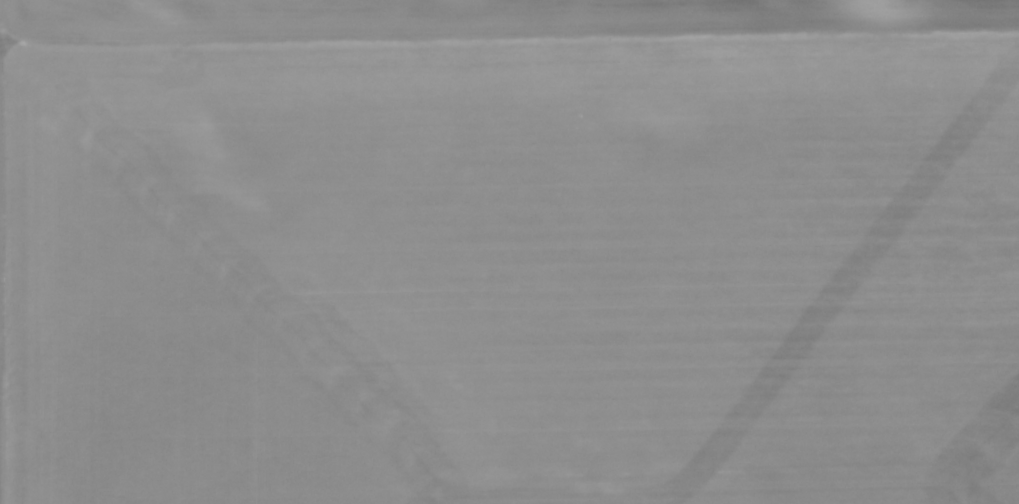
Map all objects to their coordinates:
crop: (509, 252)

